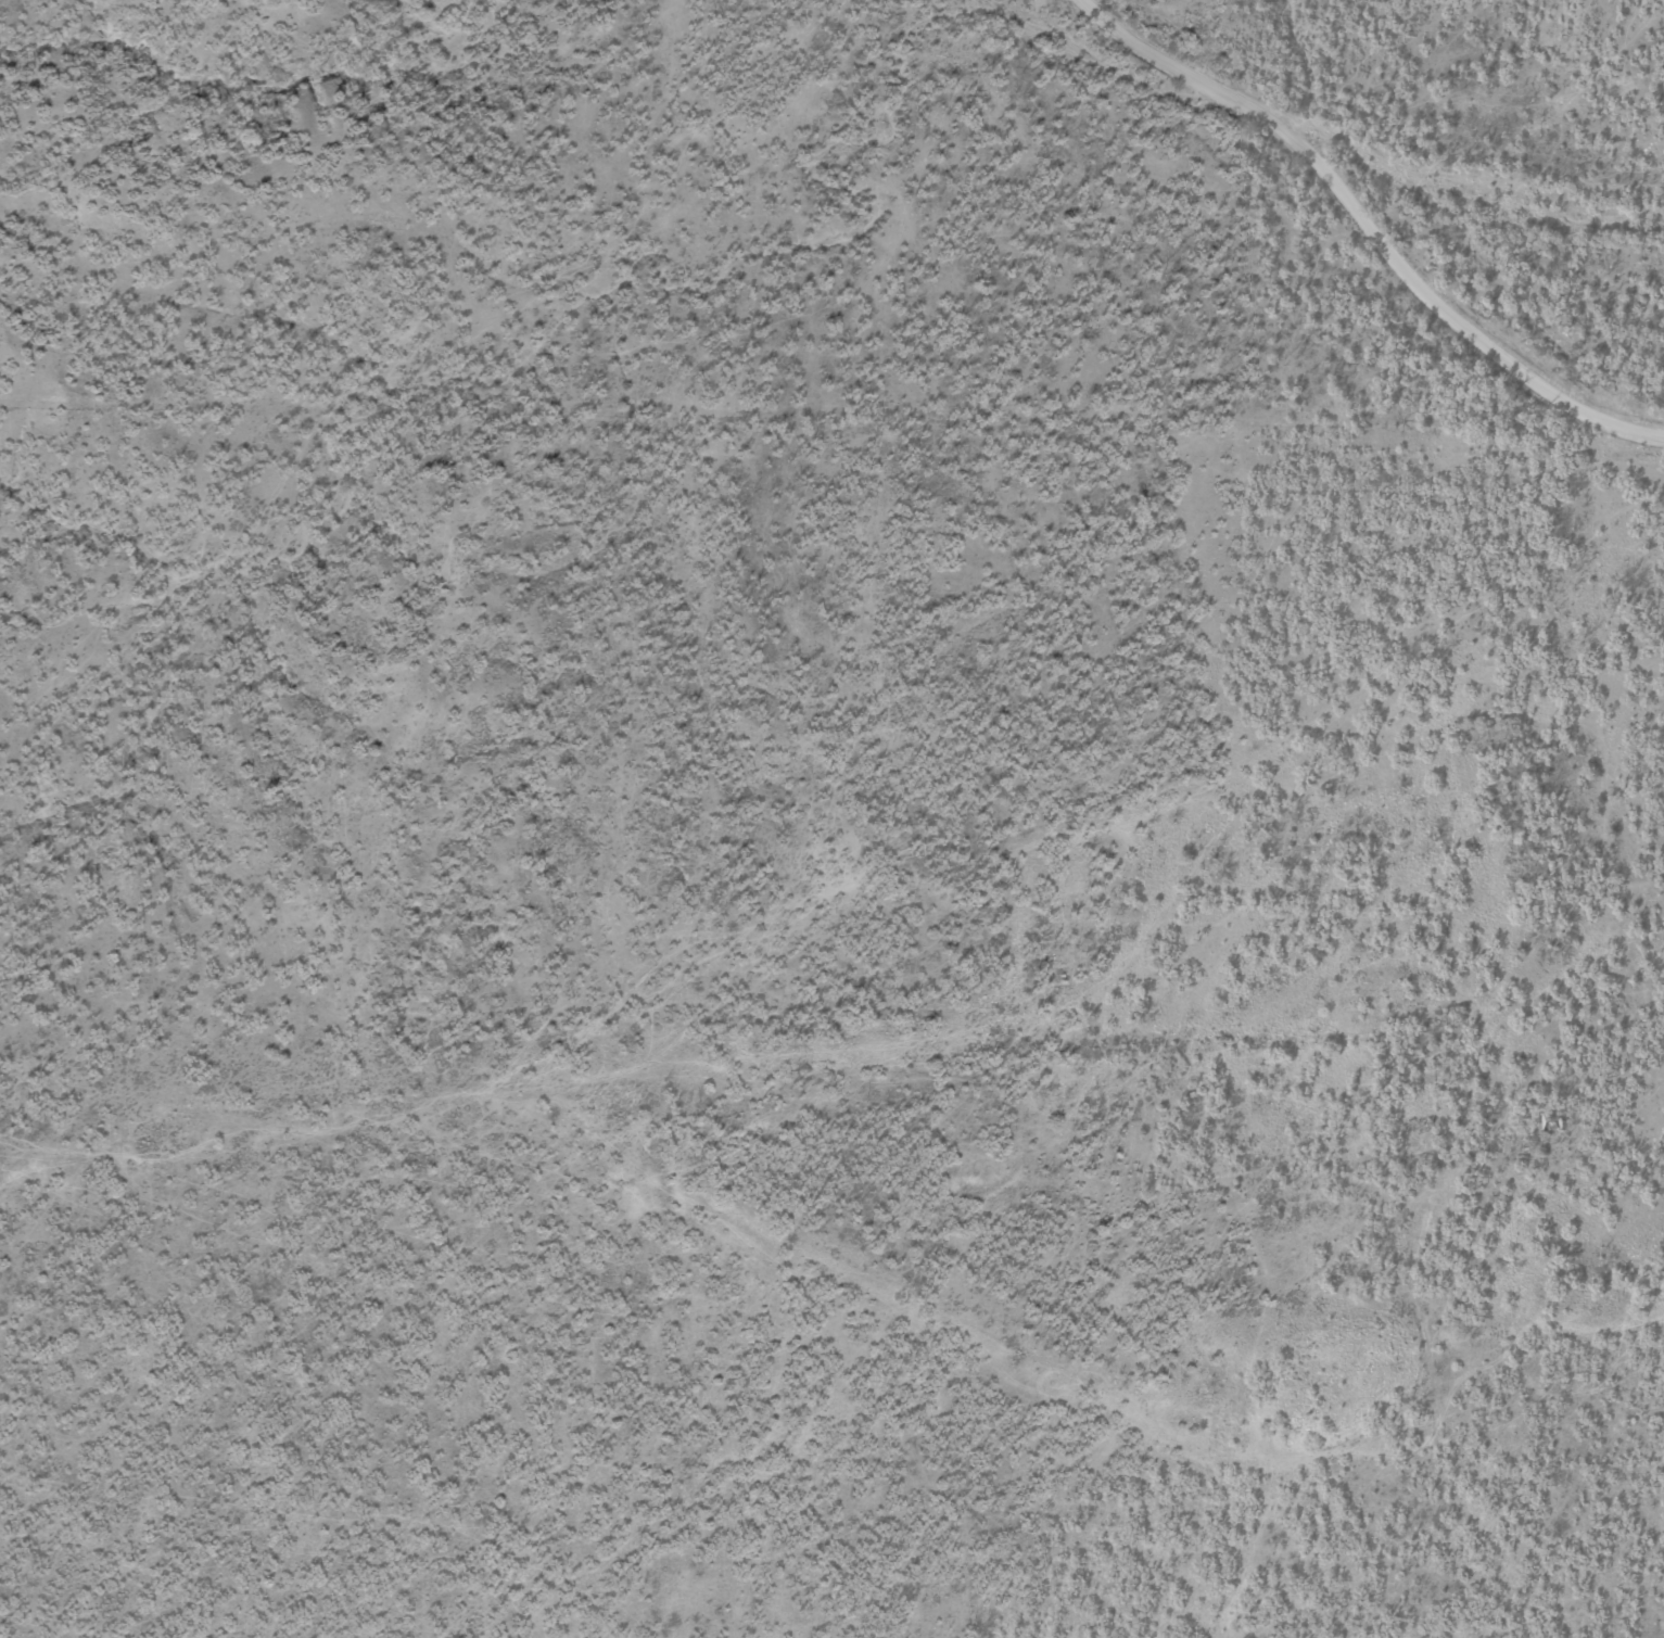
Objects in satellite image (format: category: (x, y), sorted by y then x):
road: (1373, 224)
road: (1605, 747)

